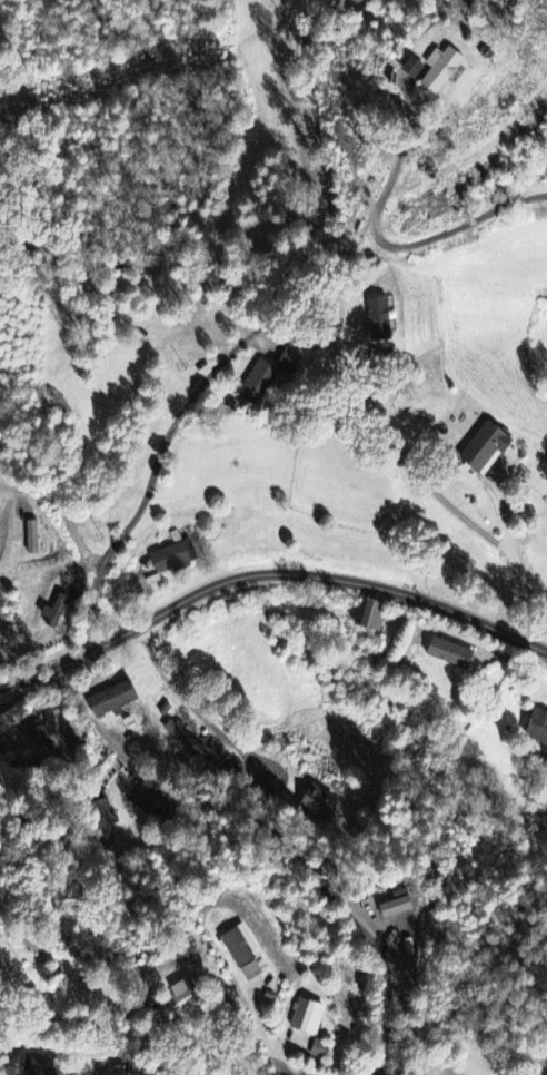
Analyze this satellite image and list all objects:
building: (428, 68)
building: (457, 69)
road: (401, 243)
road: (156, 260)
building: (381, 320)
building: (295, 363)
building: (262, 383)
road: (166, 446)
building: (490, 448)
building: (176, 558)
road: (267, 573)
building: (59, 614)
building: (372, 615)
building: (451, 654)
road: (188, 700)
building: (113, 701)
building: (539, 728)
building: (52, 731)
building: (182, 739)
building: (319, 803)
road: (279, 837)
building: (400, 905)
building: (240, 948)
building: (185, 998)
road: (387, 1008)
building: (309, 1016)
road: (149, 1041)
building: (320, 1049)
building: (39, 1064)

